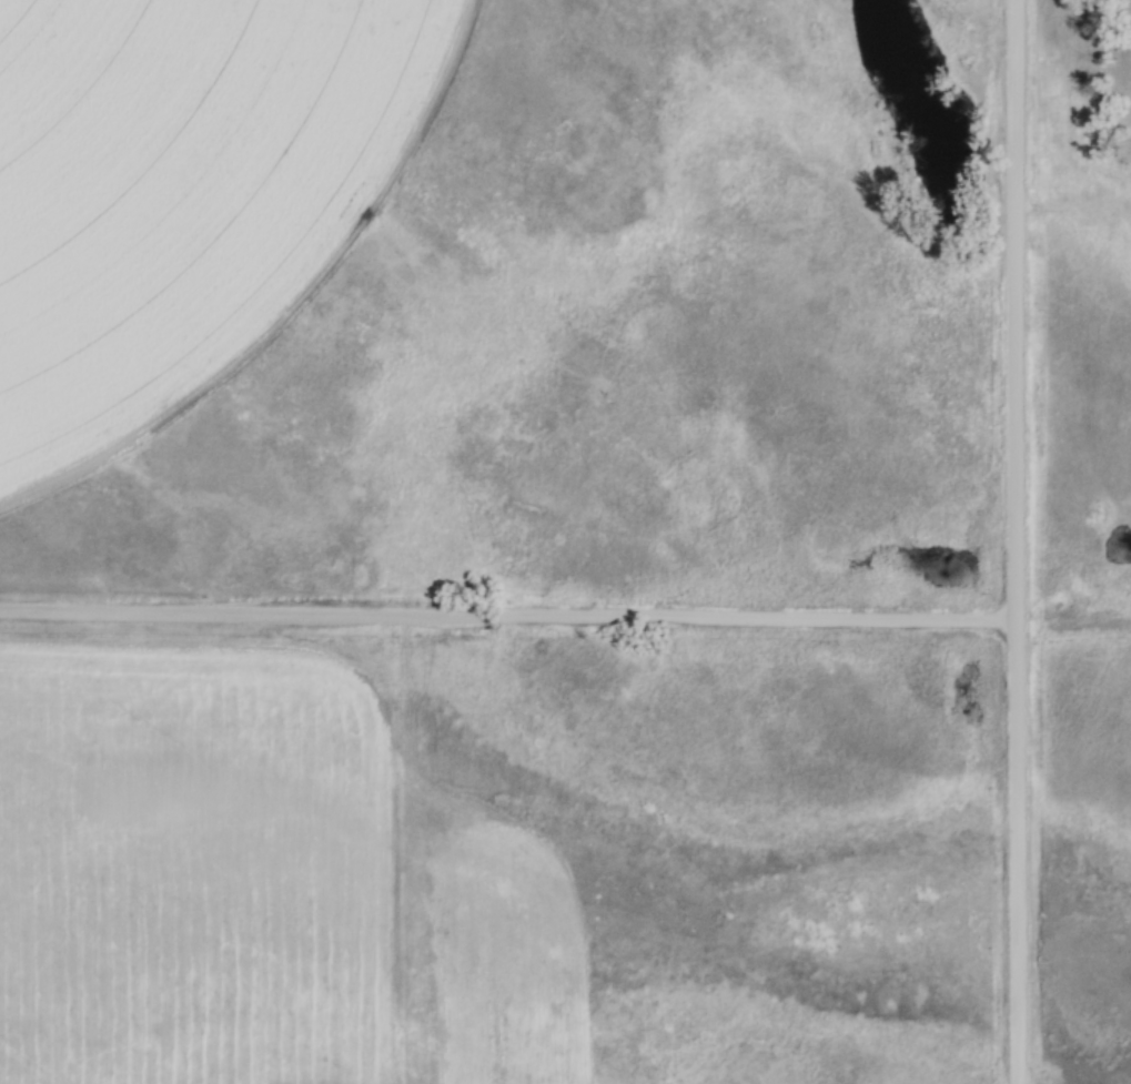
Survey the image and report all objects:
road: (1017, 541)

